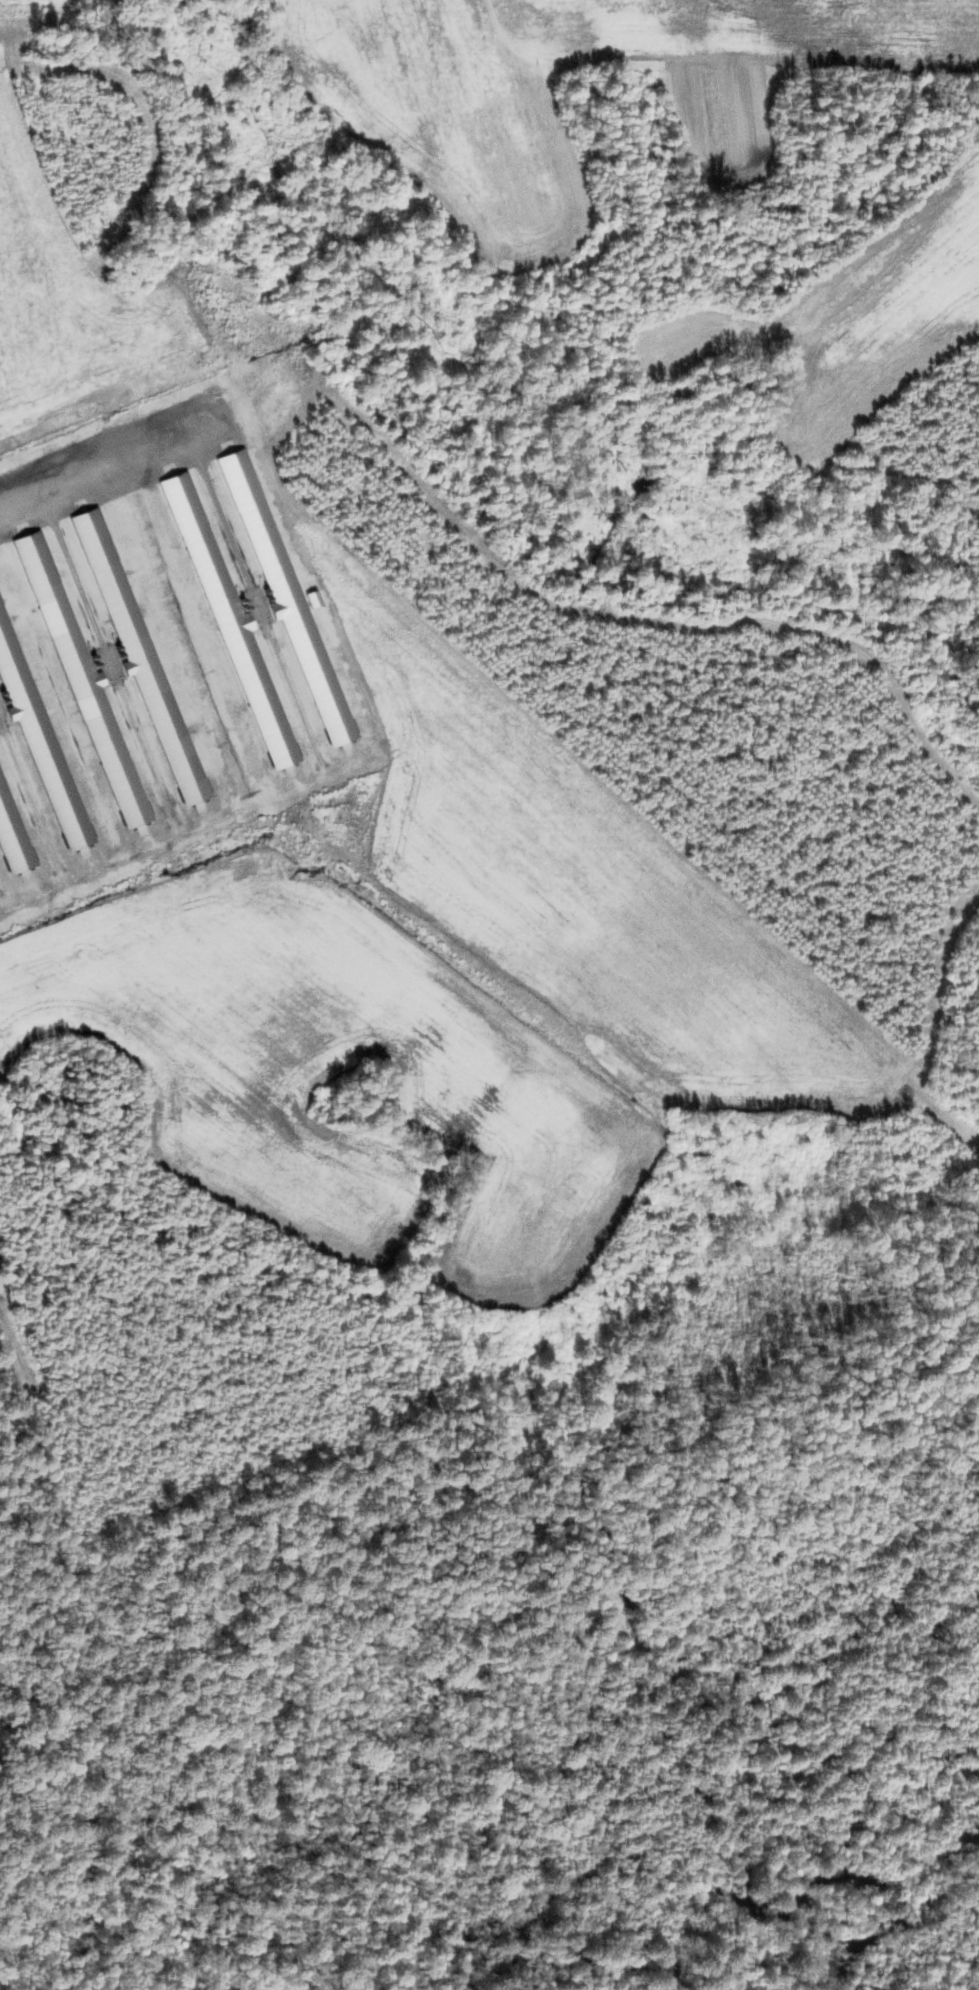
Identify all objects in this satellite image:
road: (888, 41)

